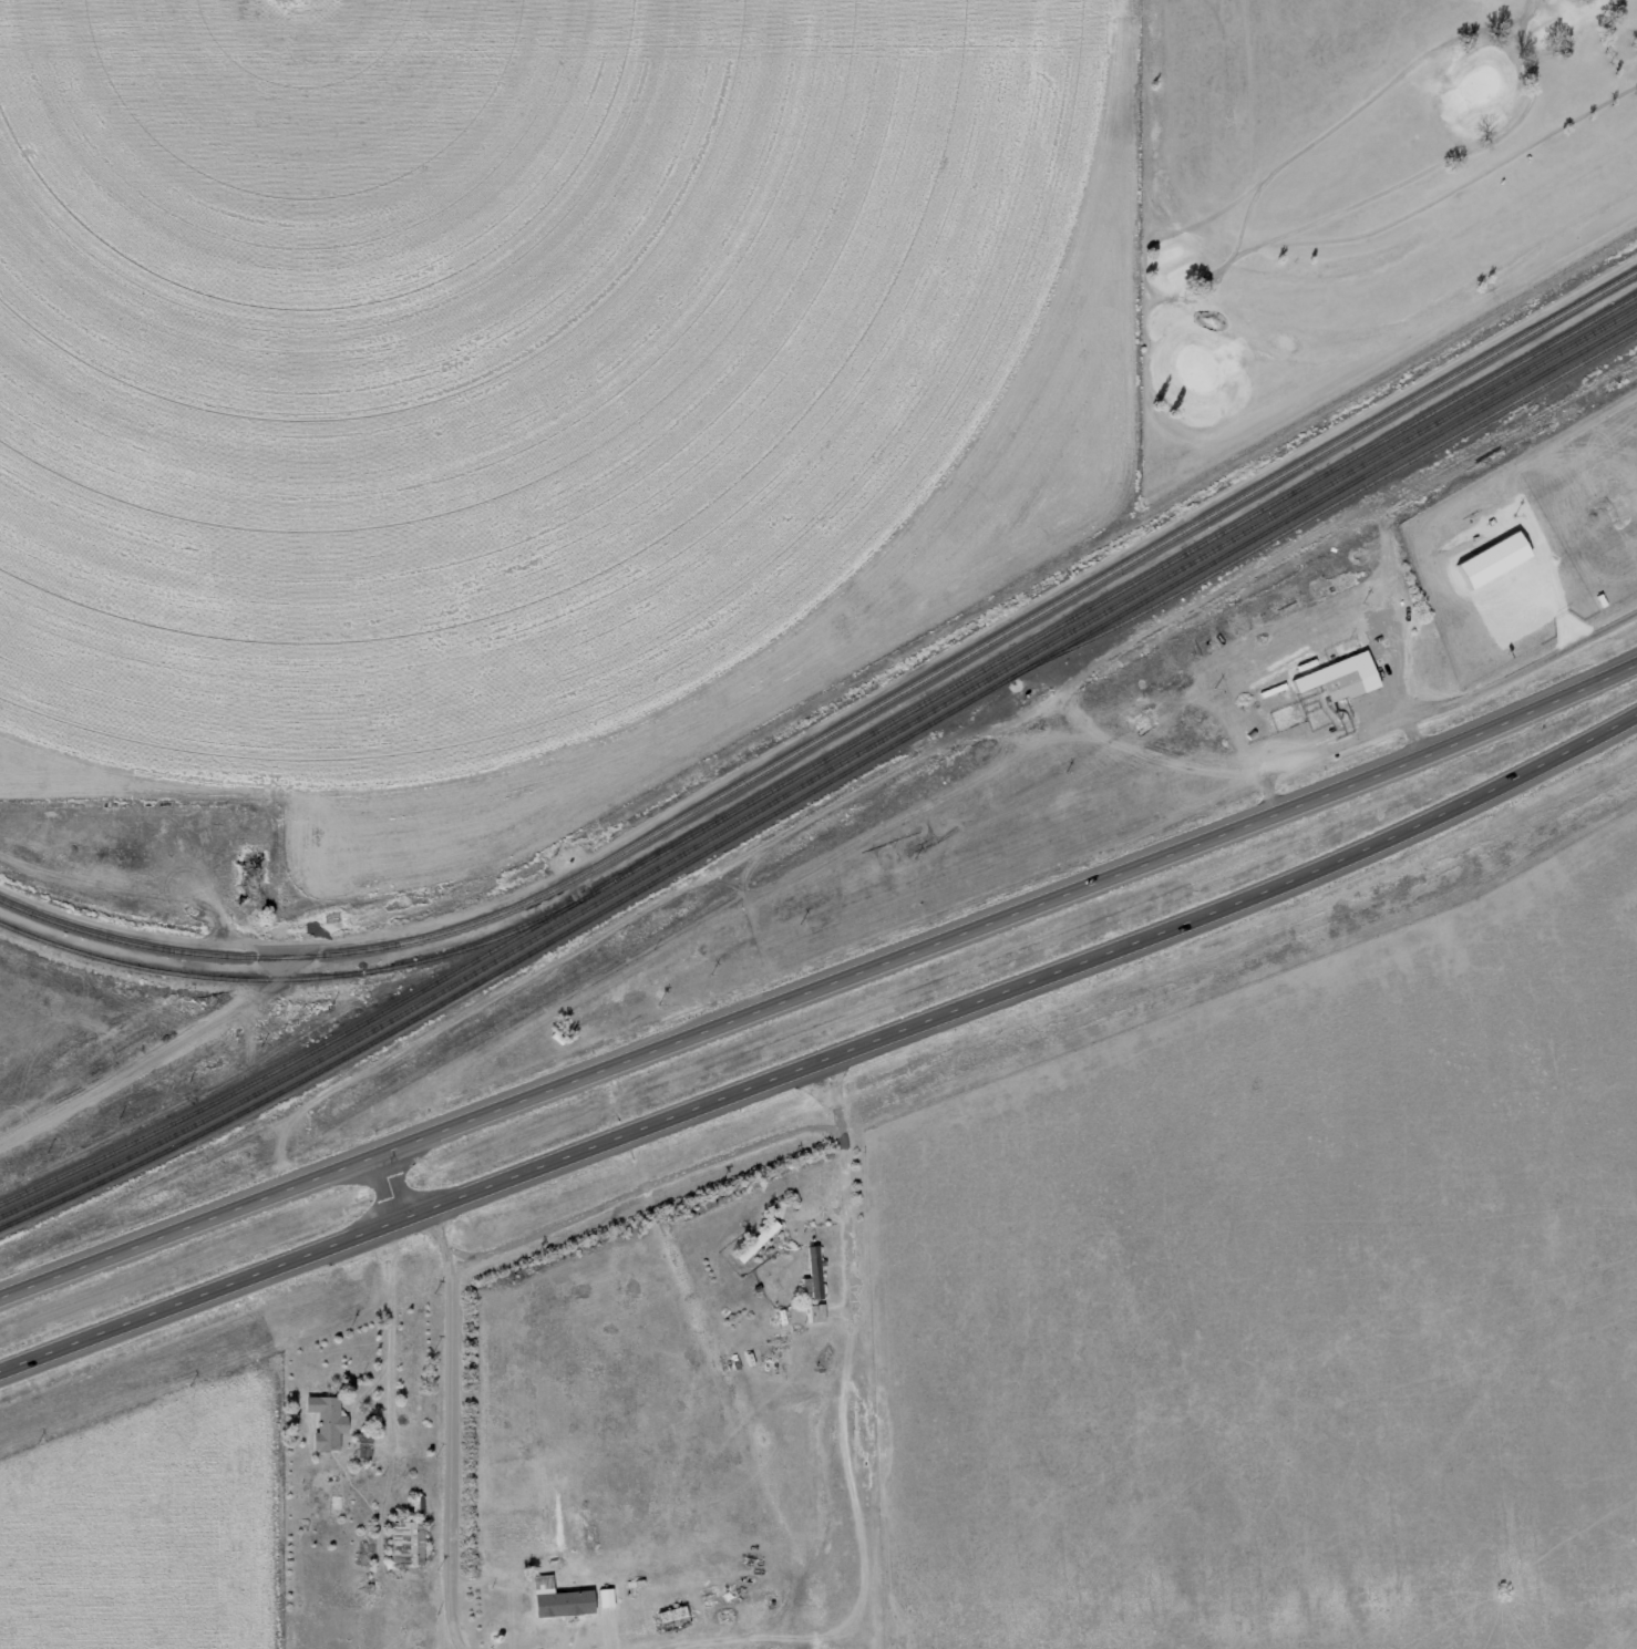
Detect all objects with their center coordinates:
park: (1359, 193)
railway: (1325, 507)
building: (1335, 678)
railway: (847, 723)
railway: (824, 760)
railway: (824, 773)
railway: (824, 783)
railway: (295, 978)
road: (821, 986)
road: (825, 1062)
railway: (106, 1183)
building: (781, 1209)
road: (925, 1237)
building: (814, 1271)
building: (330, 1422)
road: (360, 1442)
road: (76, 1496)
building: (409, 1543)
building: (566, 1604)

